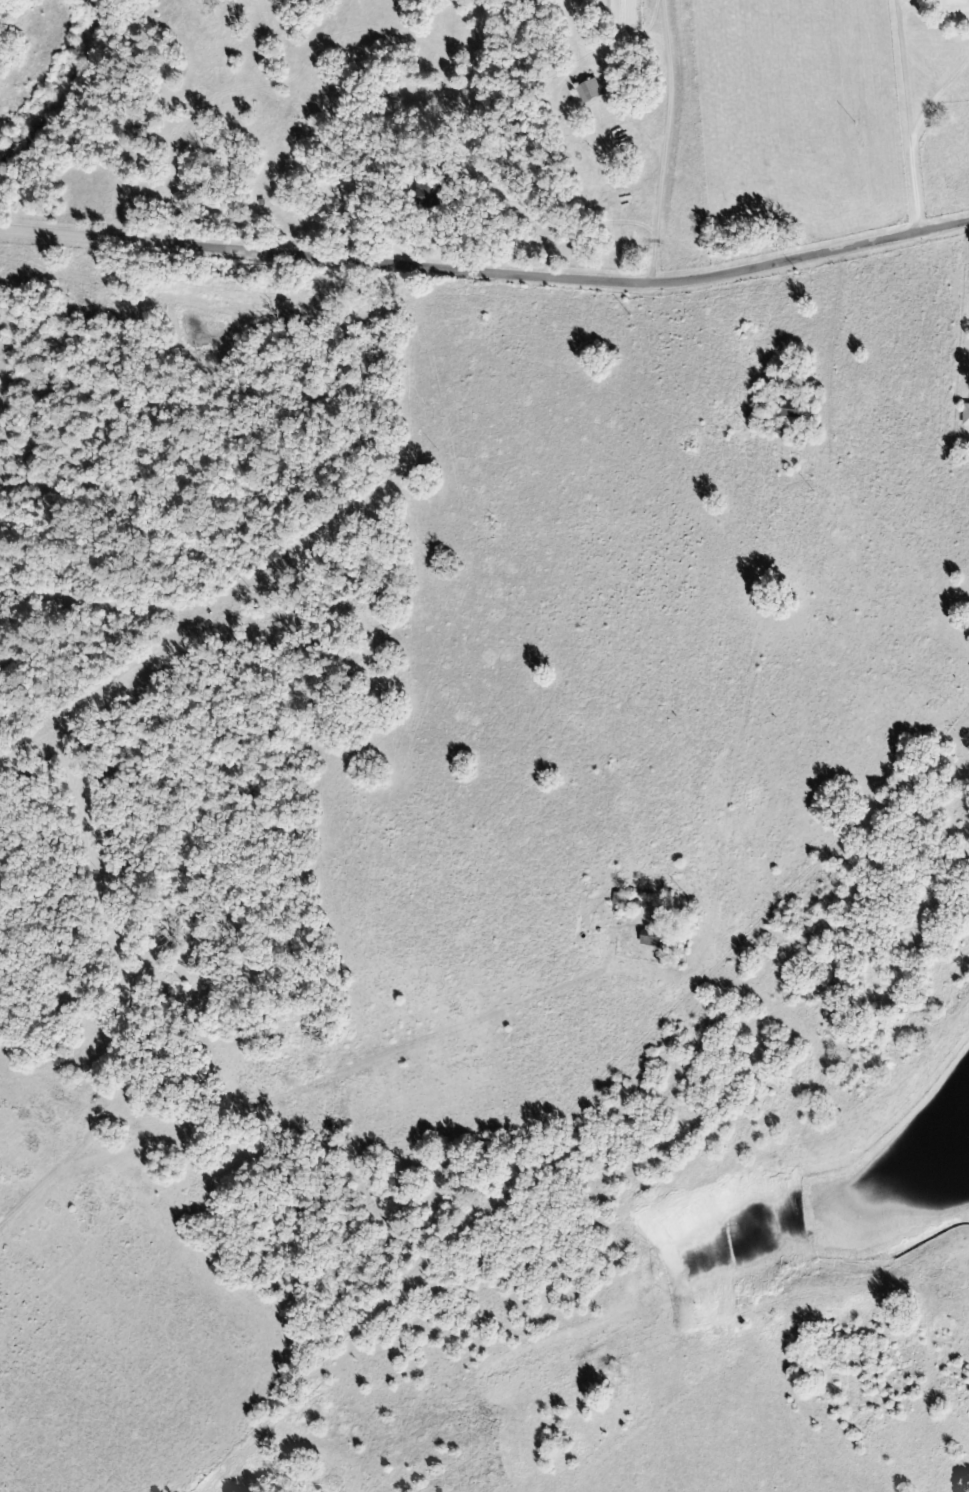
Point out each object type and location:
building: (589, 90)
road: (486, 269)
building: (791, 409)
building: (966, 415)

